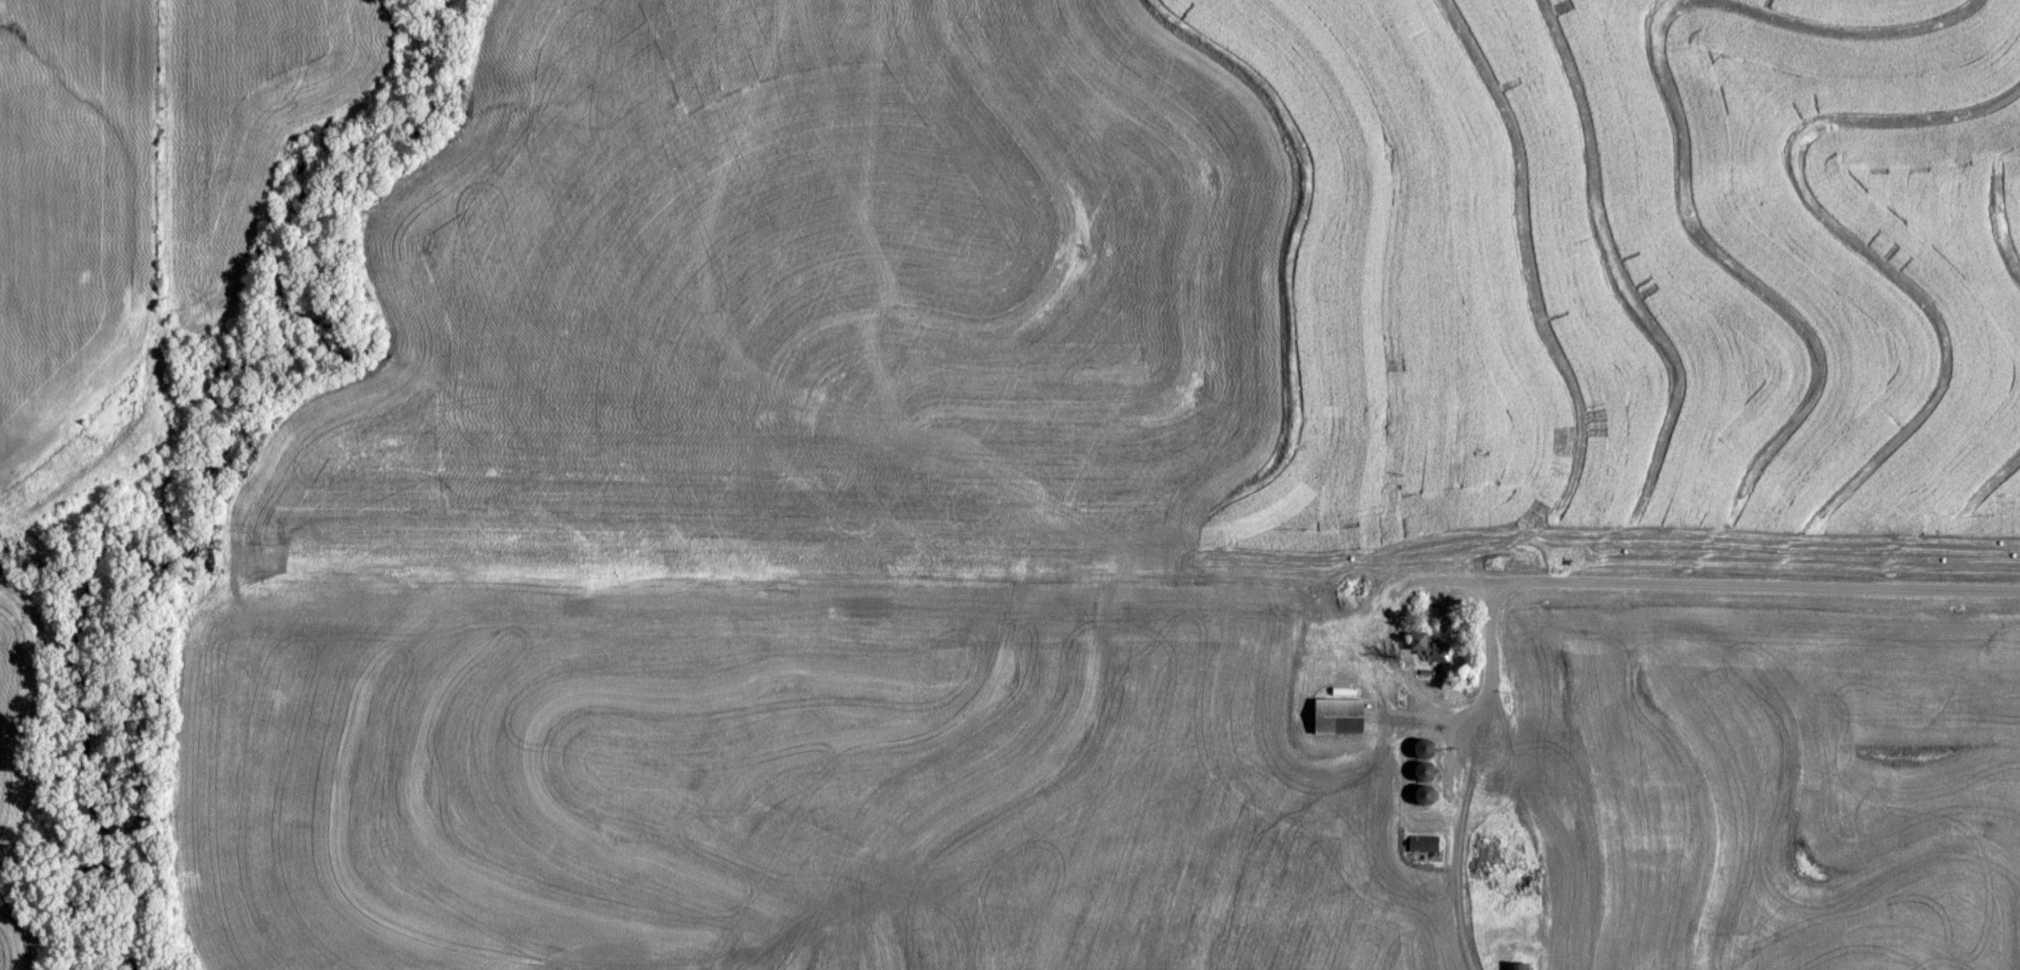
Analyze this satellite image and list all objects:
road: (1741, 583)
building: (1427, 644)
building: (1340, 714)
building: (1428, 756)
building: (1428, 791)
building: (1424, 842)
building: (1487, 853)
building: (1517, 965)

